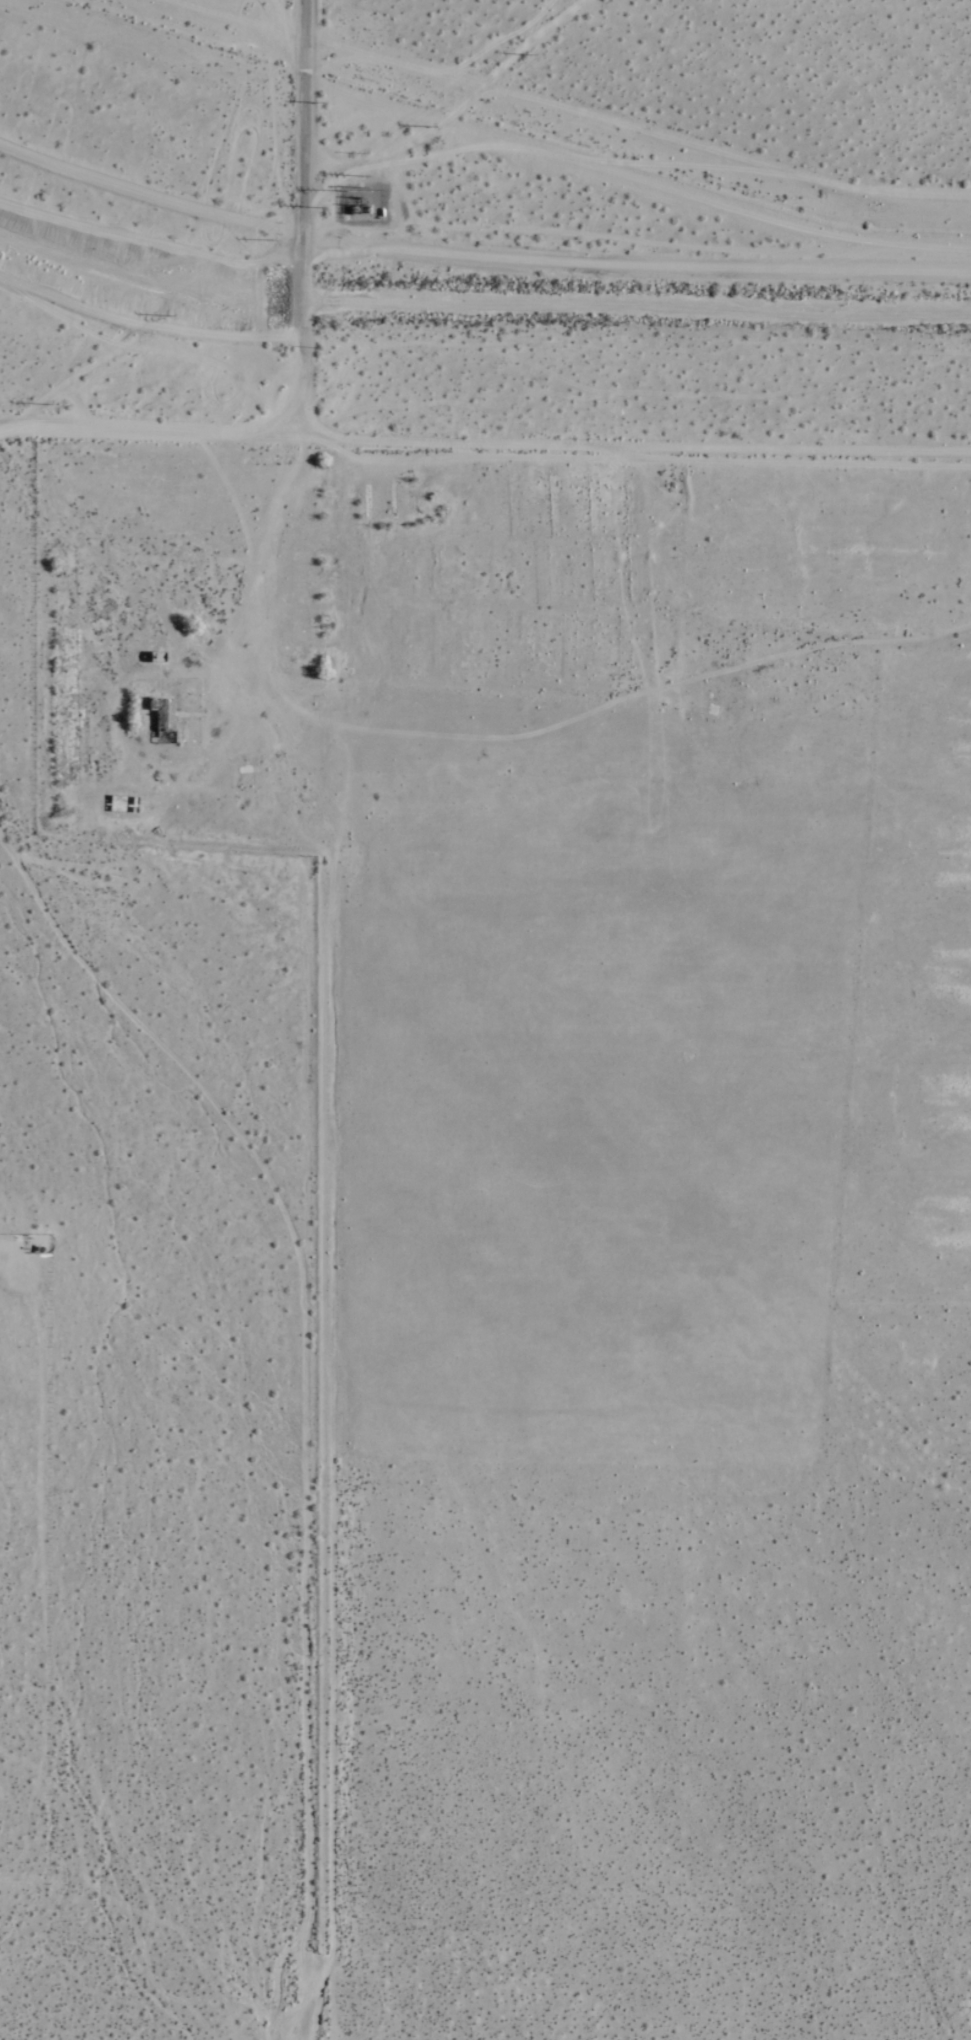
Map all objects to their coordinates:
road: (307, 163)
road: (307, 384)
road: (140, 431)
road: (625, 442)
road: (325, 1441)

